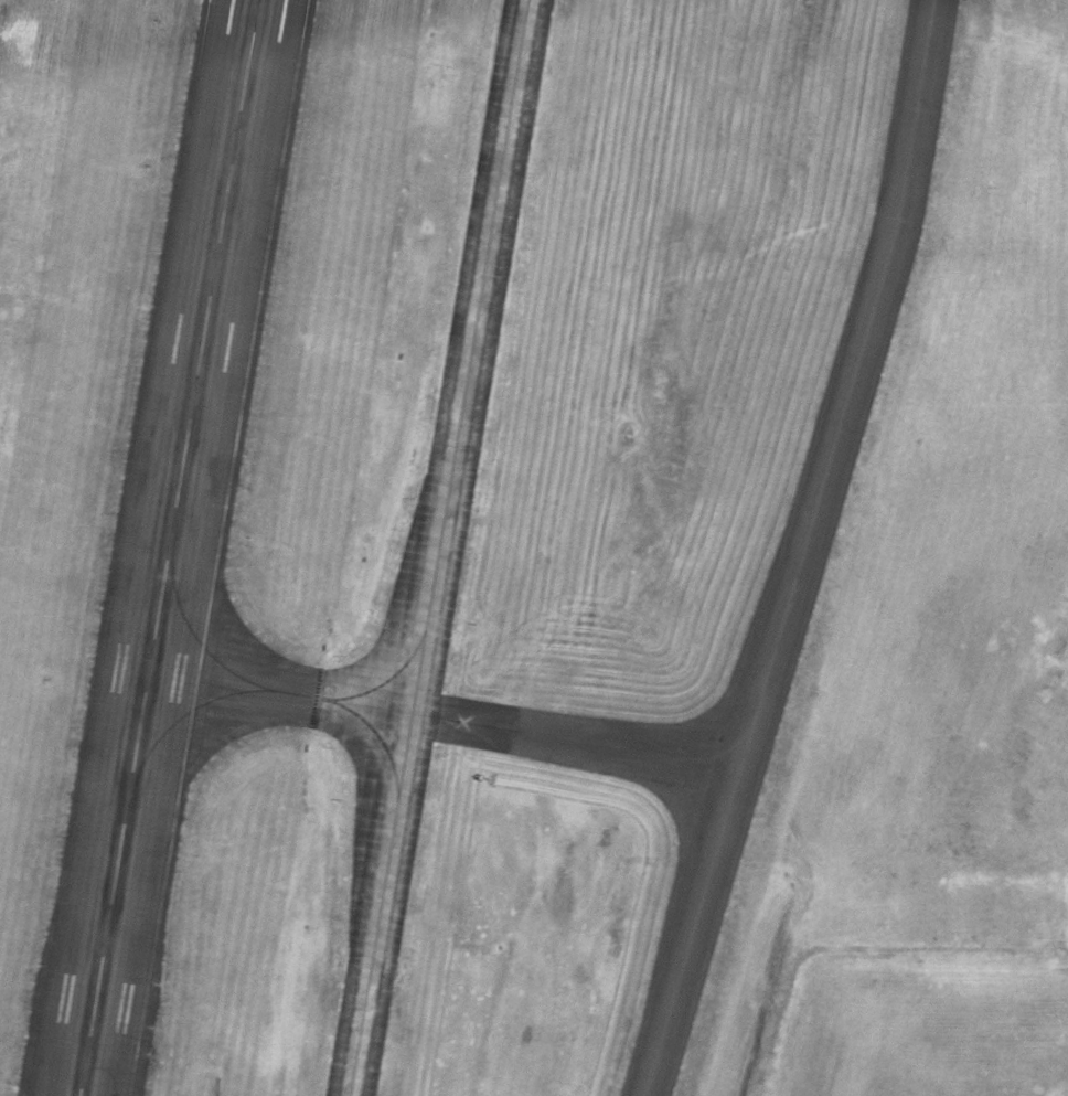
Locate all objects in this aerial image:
airport runway: (171, 547)
airport taxiway: (438, 547)
airport: (534, 547)
airport taxiway: (280, 696)

